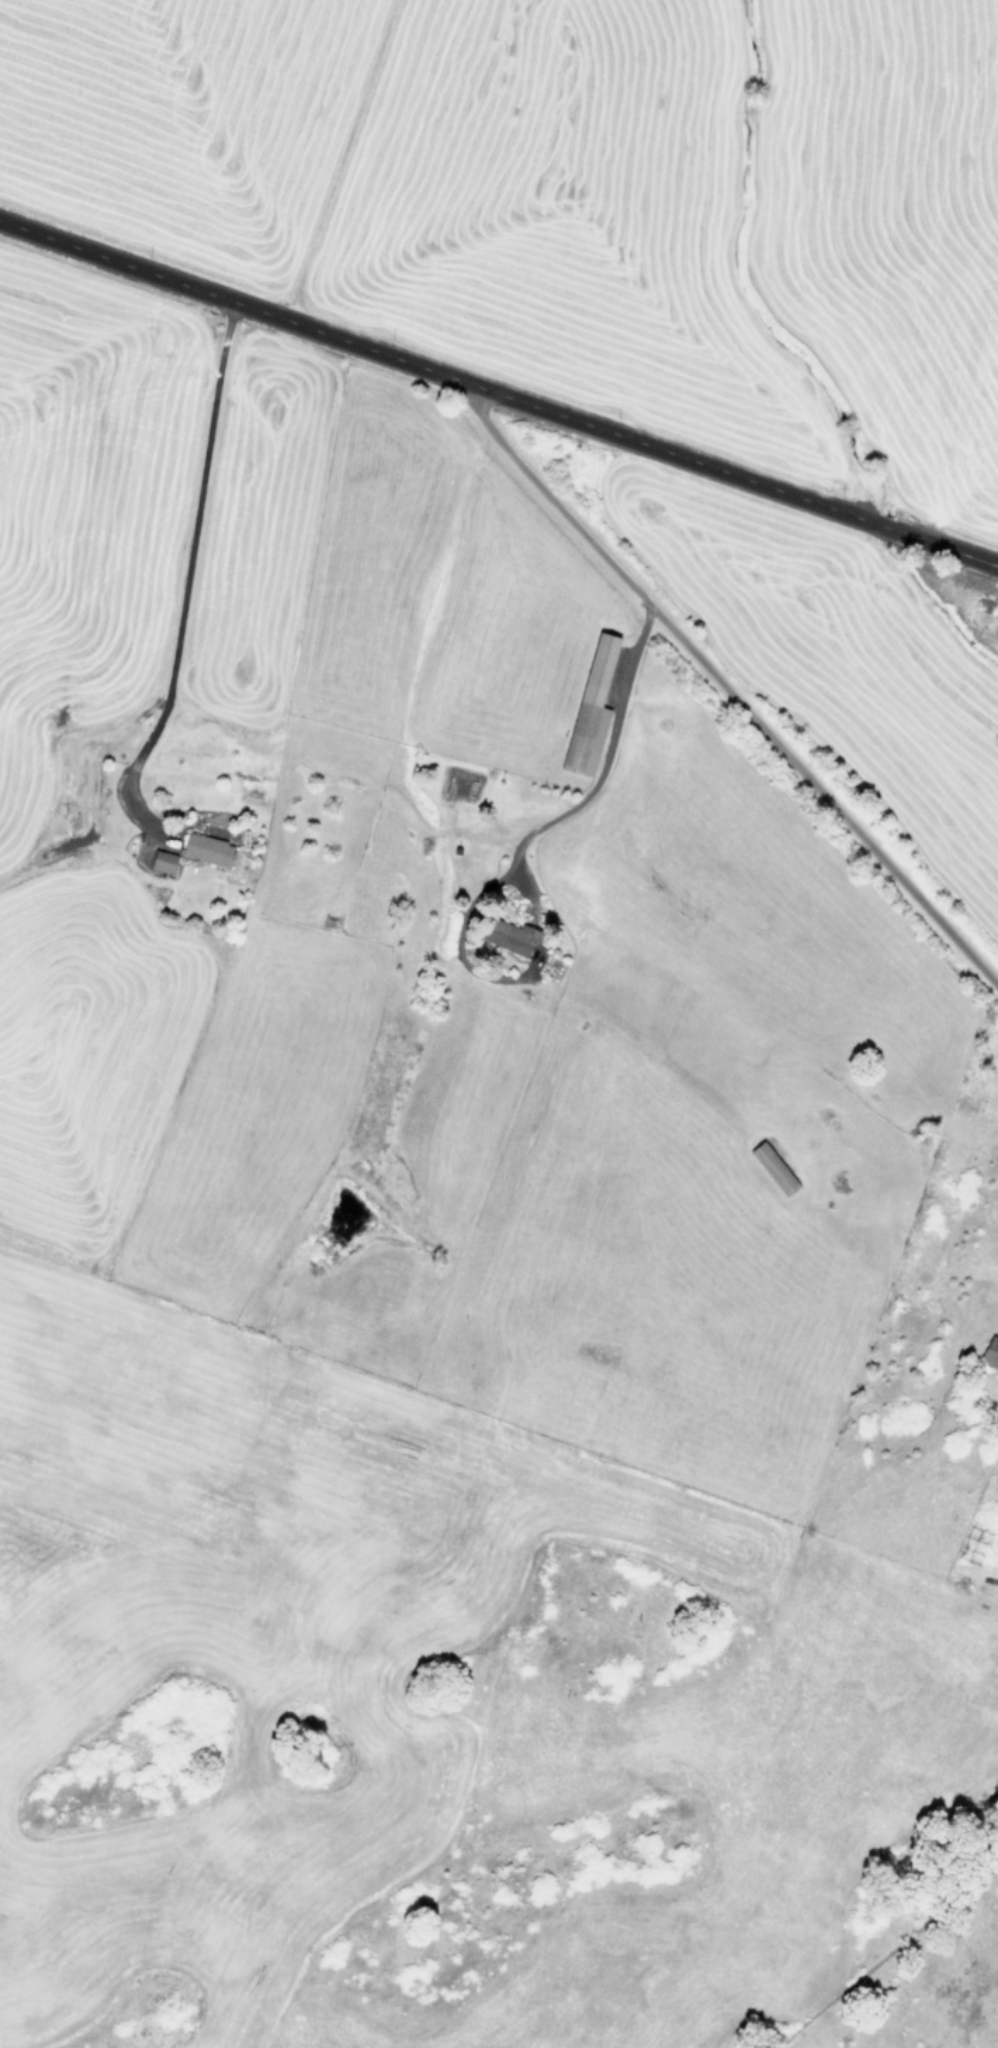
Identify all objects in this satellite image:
road: (499, 390)
road: (190, 558)
road: (728, 689)
building: (586, 712)
road: (604, 763)
building: (203, 849)
building: (159, 861)
building: (505, 936)
crop: (485, 992)
building: (770, 1168)
building: (990, 1352)

